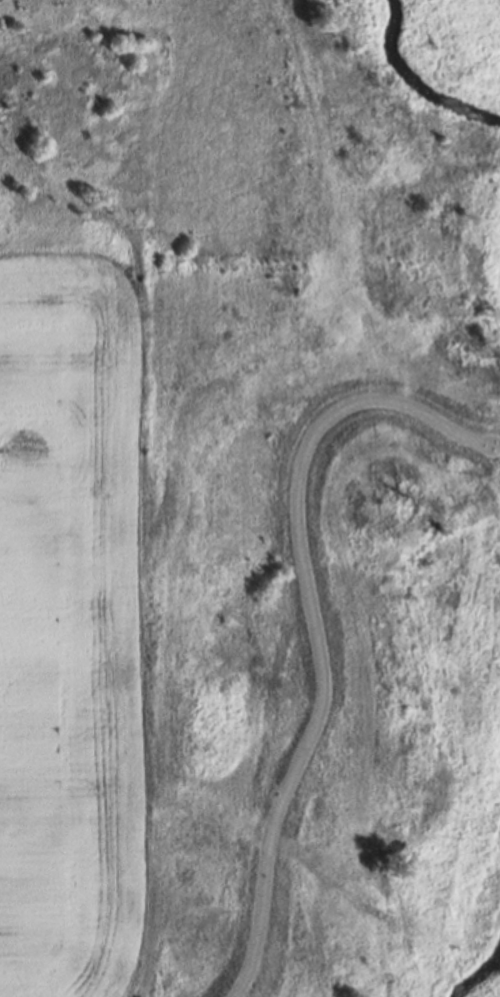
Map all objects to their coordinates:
road: (313, 622)

